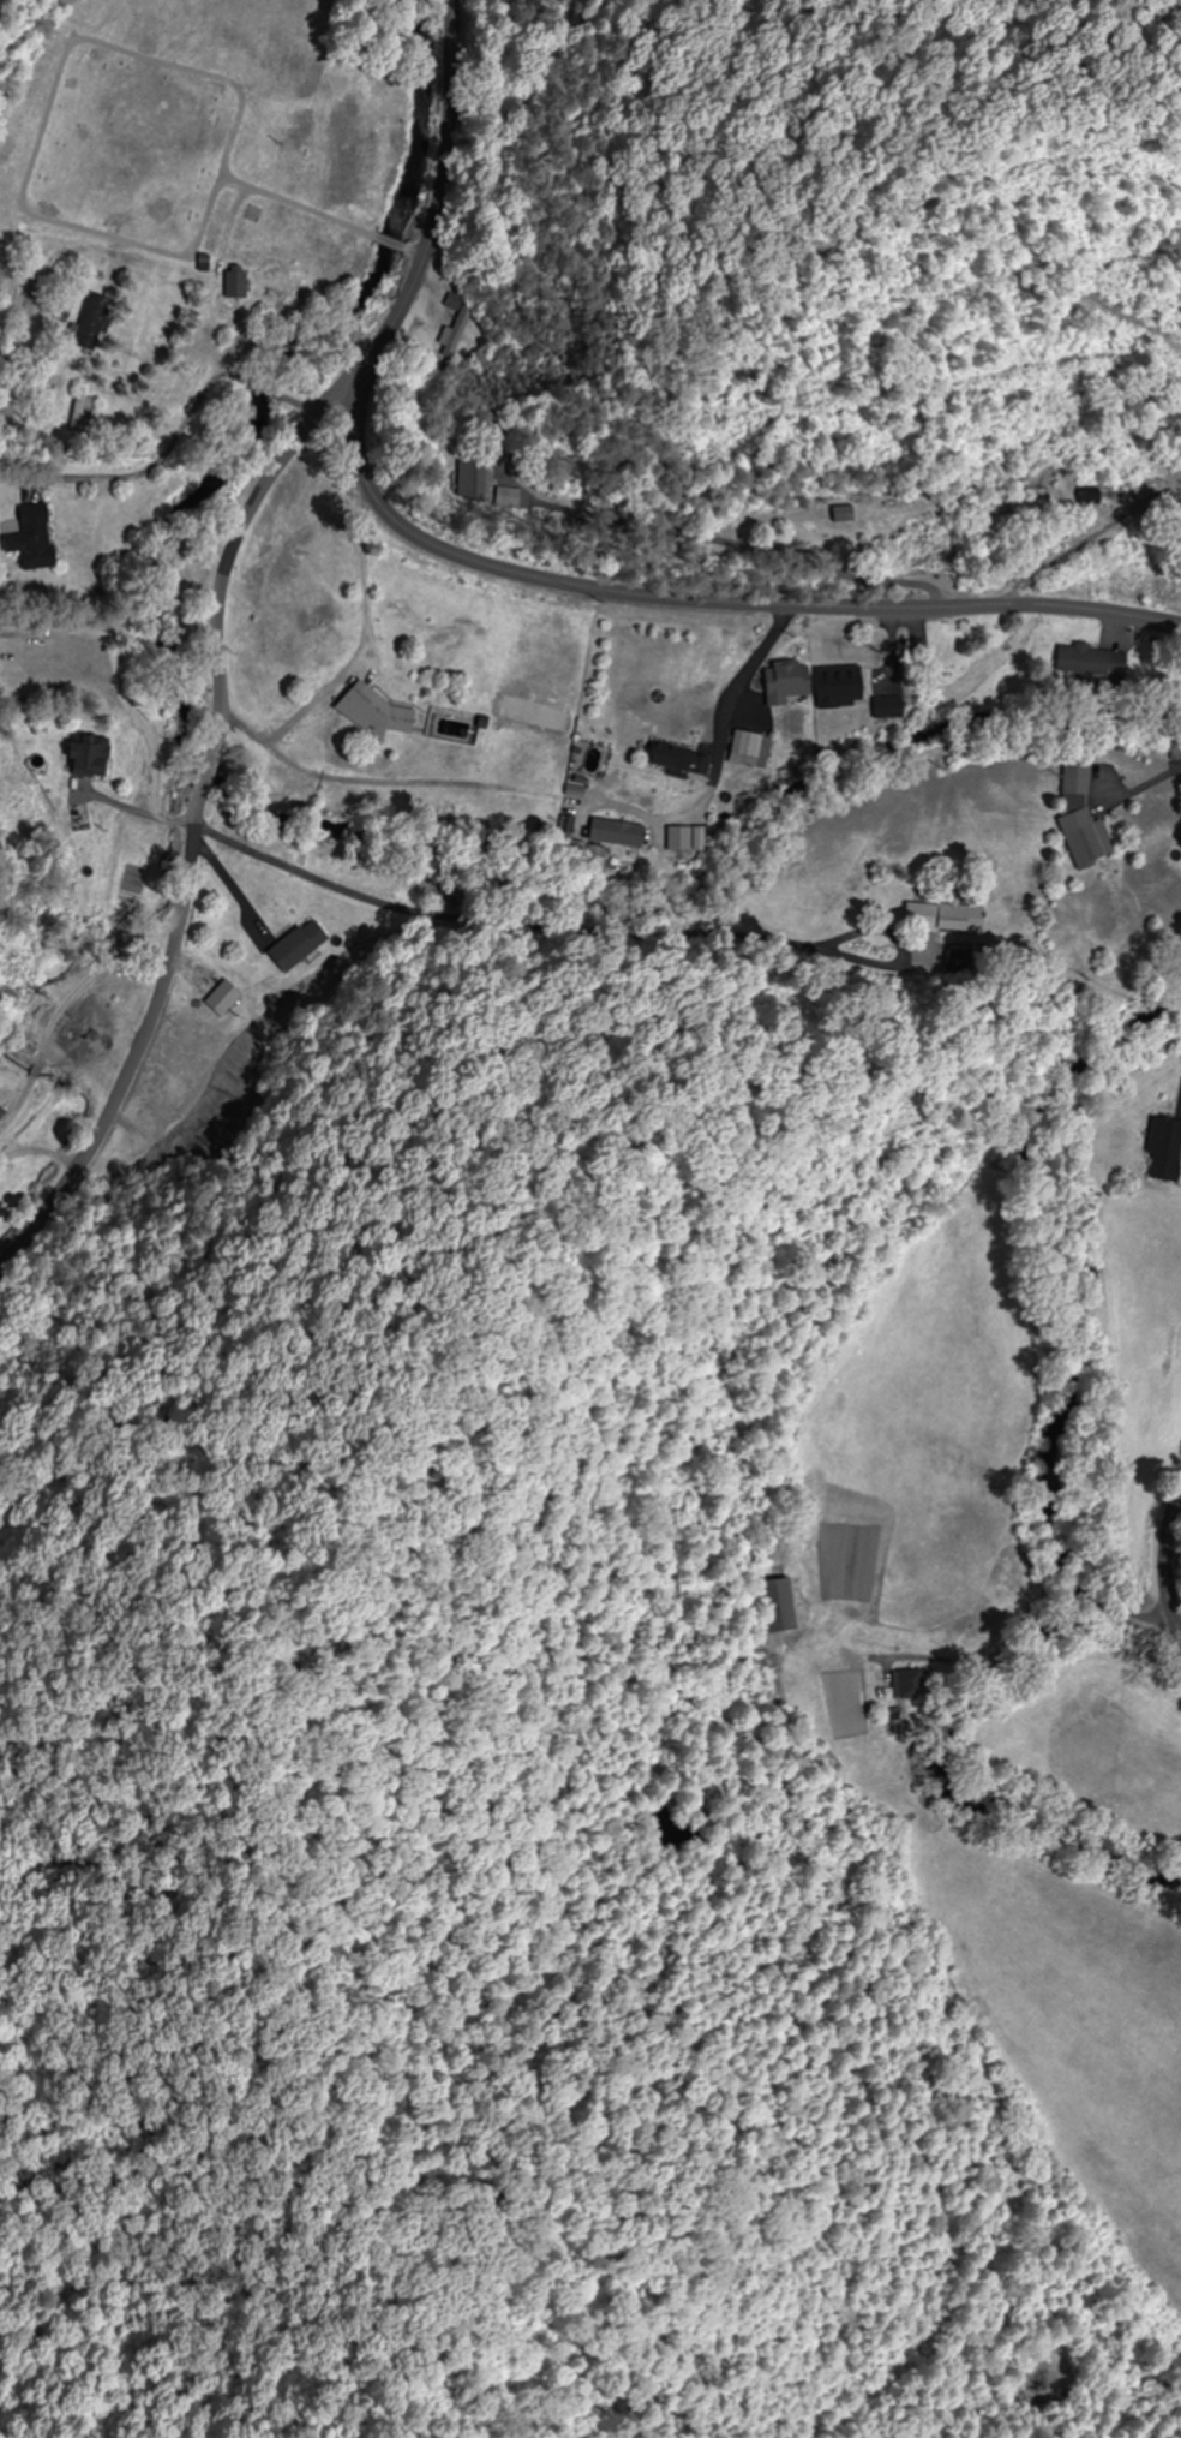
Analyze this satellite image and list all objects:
road: (484, 17)
park: (127, 145)
road: (319, 226)
building: (230, 283)
building: (89, 322)
building: (458, 337)
building: (78, 416)
building: (457, 482)
building: (1080, 496)
building: (1032, 498)
building: (29, 539)
road: (510, 573)
building: (935, 655)
building: (1093, 662)
building: (781, 683)
building: (837, 692)
road: (714, 747)
building: (747, 748)
building: (1168, 749)
building: (84, 755)
building: (675, 759)
road: (198, 793)
road: (1145, 794)
building: (1079, 817)
building: (613, 832)
building: (594, 858)
road: (92, 889)
building: (948, 918)
road: (550, 945)
building: (295, 946)
building: (221, 999)
building: (79, 1033)
building: (169, 1098)
building: (146, 1140)
building: (1163, 1149)
road: (1165, 1565)
building: (774, 1605)
road: (1111, 1608)
road: (970, 1660)
building: (909, 1684)

